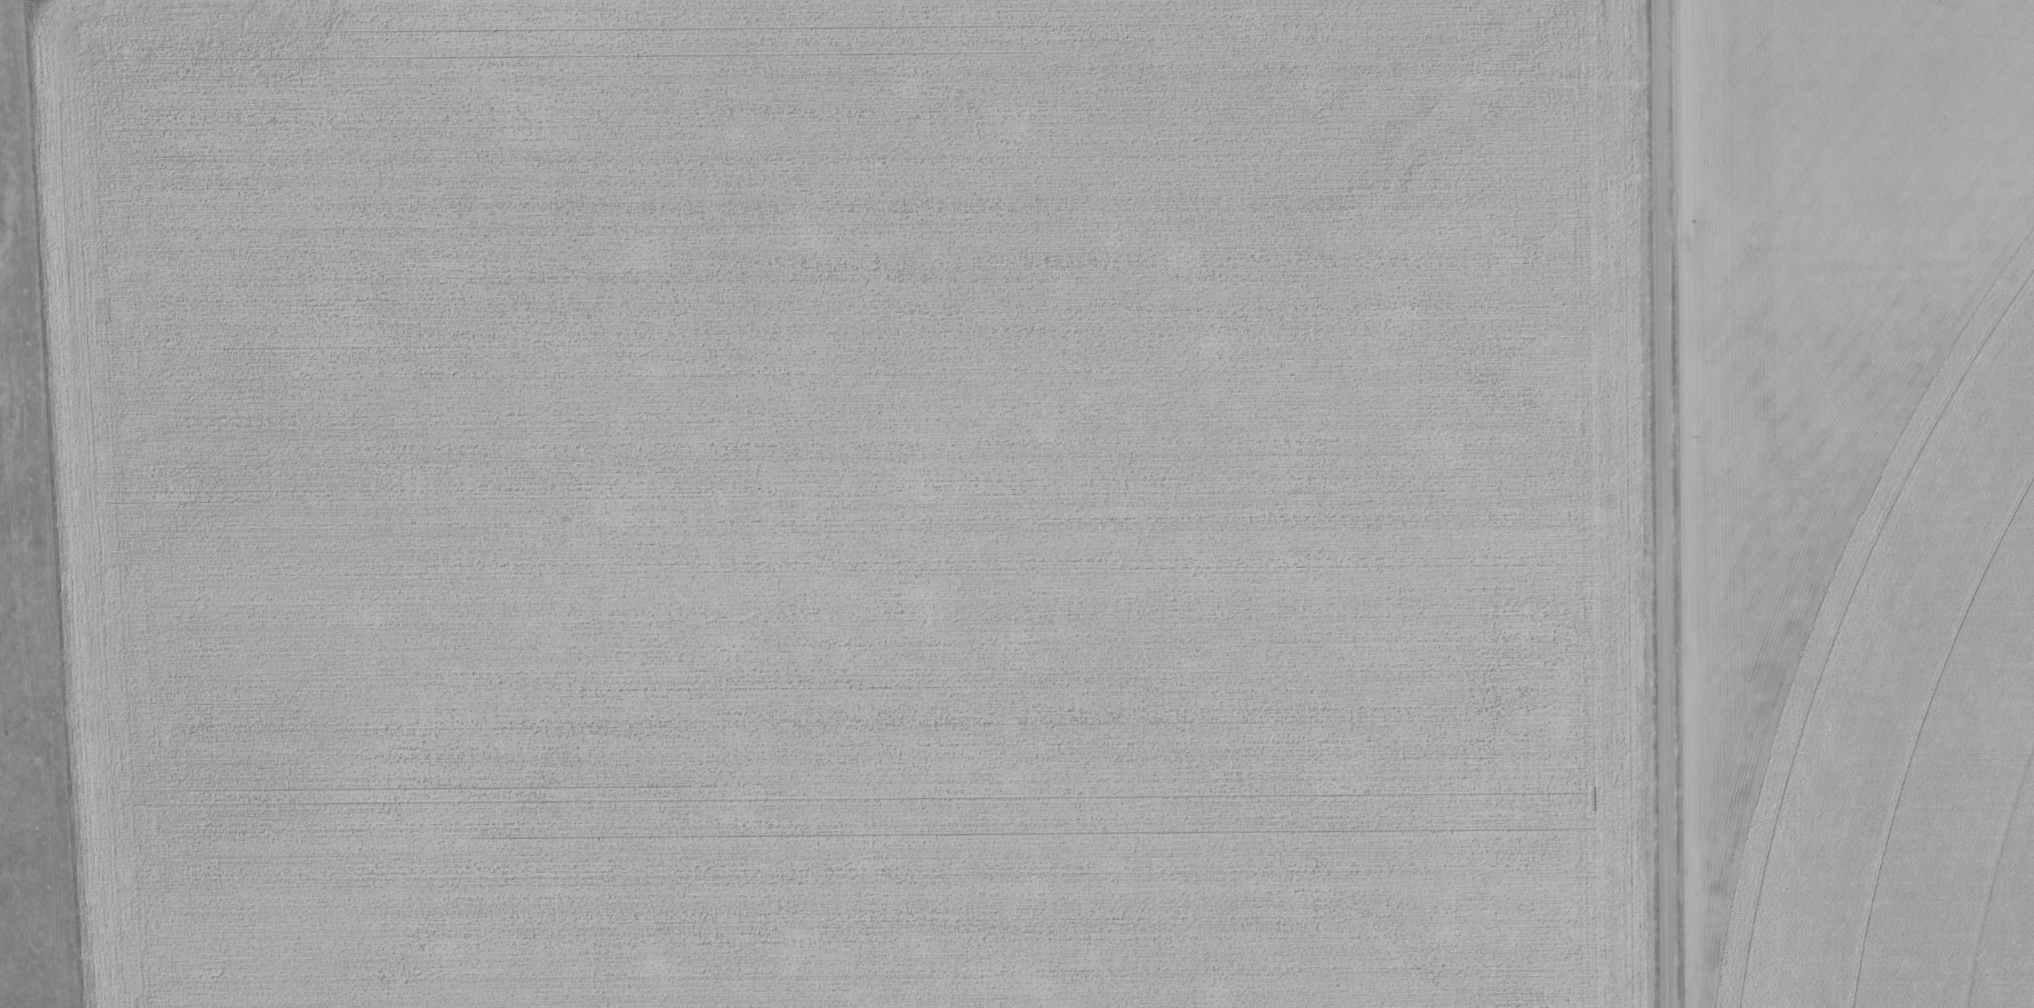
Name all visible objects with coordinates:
road: (1665, 503)

